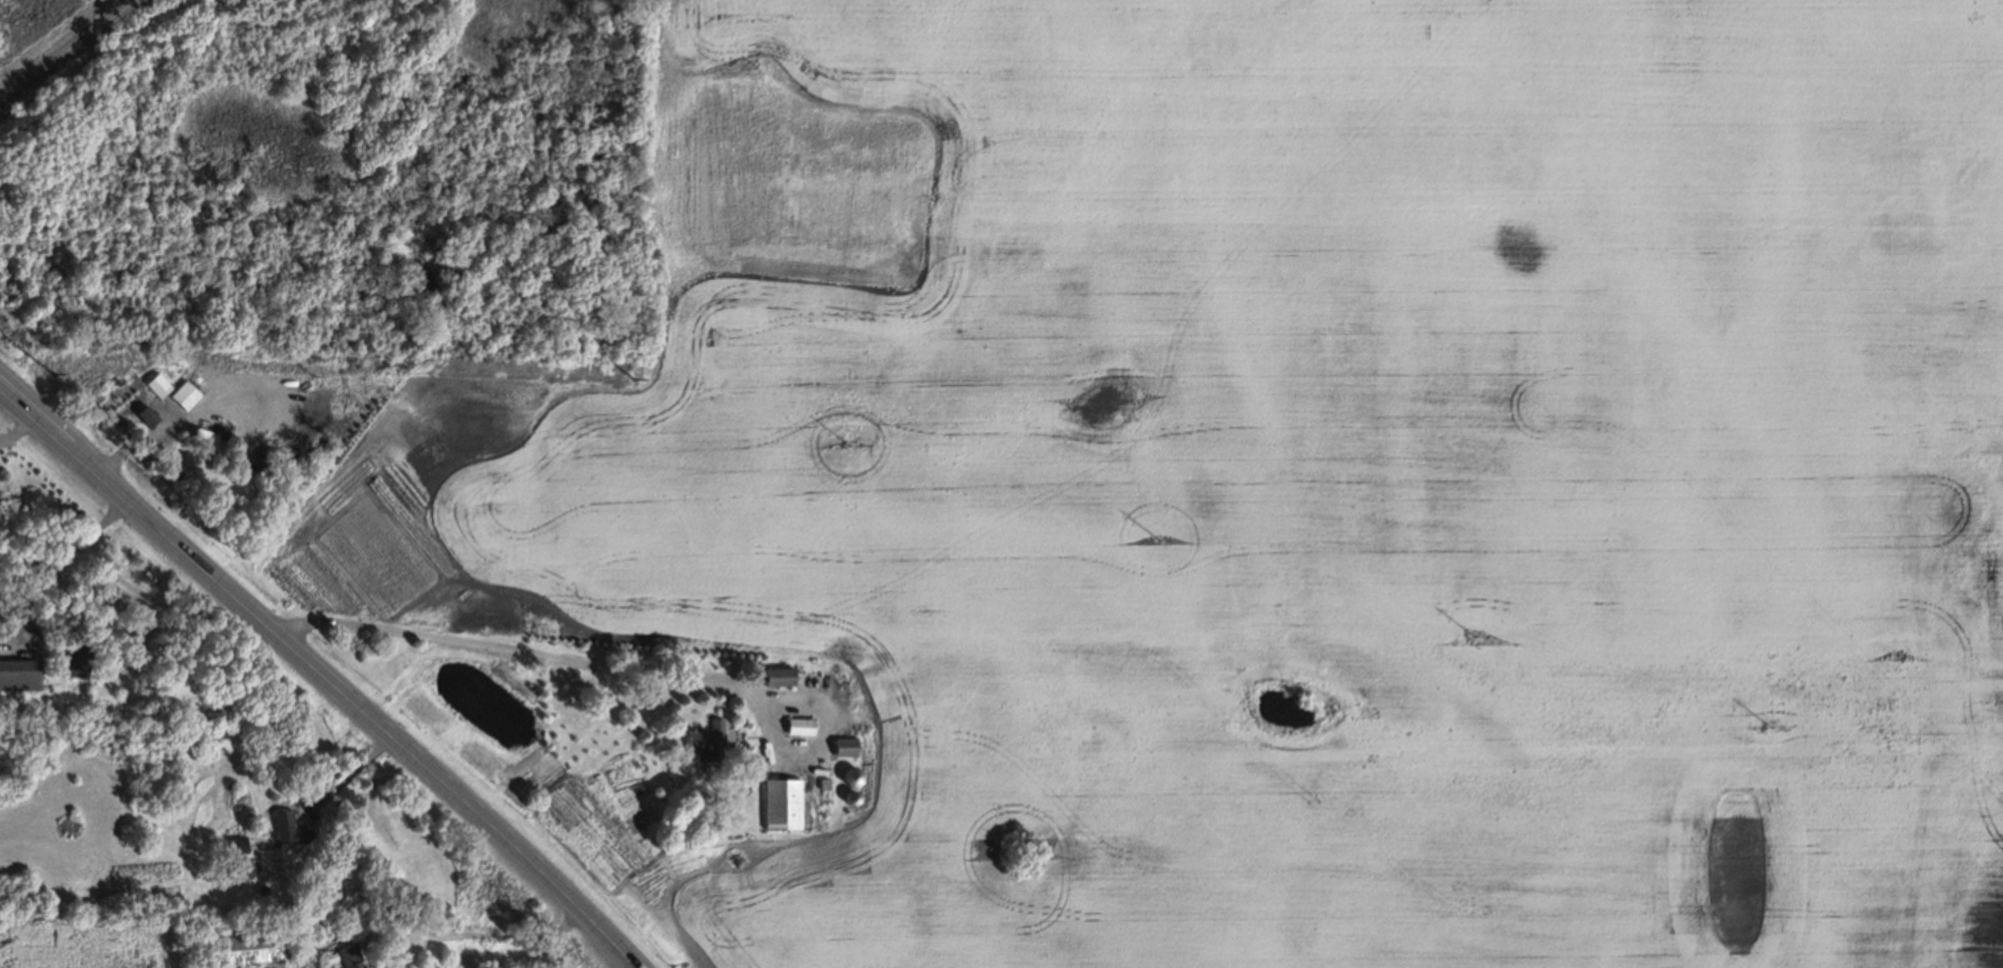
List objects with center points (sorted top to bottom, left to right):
road: (68, 50)
power tower: (52, 373)
power tower: (635, 380)
building: (157, 387)
building: (185, 397)
building: (145, 419)
road: (17, 435)
building: (208, 437)
road: (48, 565)
road: (519, 651)
building: (76, 661)
building: (814, 669)
building: (20, 678)
building: (780, 678)
road: (322, 681)
building: (798, 725)
building: (709, 742)
building: (847, 747)
road: (344, 776)
building: (851, 777)
building: (823, 783)
building: (822, 794)
building: (851, 798)
building: (783, 805)
building: (288, 830)
building: (235, 843)
building: (237, 867)
road: (493, 933)
building: (253, 949)
building: (347, 956)

